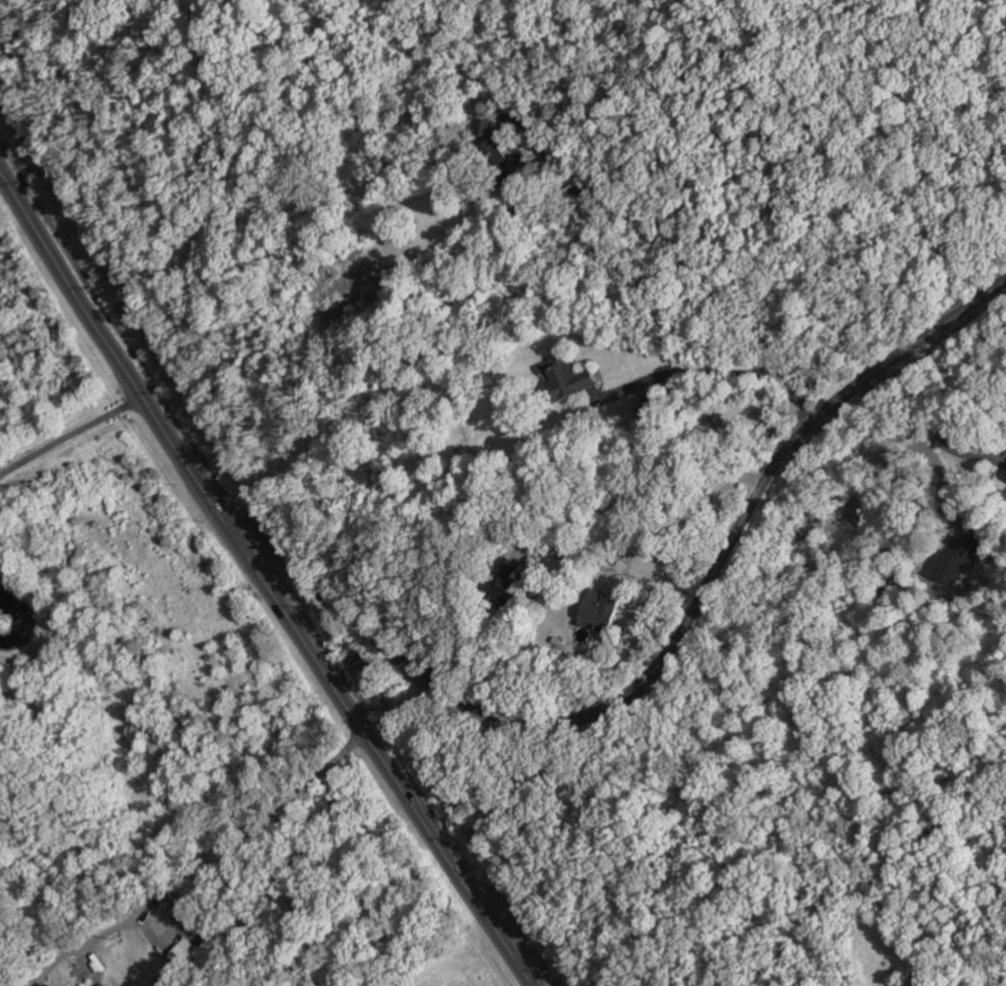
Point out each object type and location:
road: (610, 196)
road: (757, 329)
road: (689, 370)
building: (569, 377)
building: (649, 413)
road: (919, 431)
road: (69, 432)
building: (1005, 473)
road: (652, 474)
road: (684, 508)
road: (264, 582)
building: (503, 582)
building: (600, 609)
road: (0, 624)
road: (664, 652)
road: (245, 826)
building: (180, 954)
building: (100, 985)

